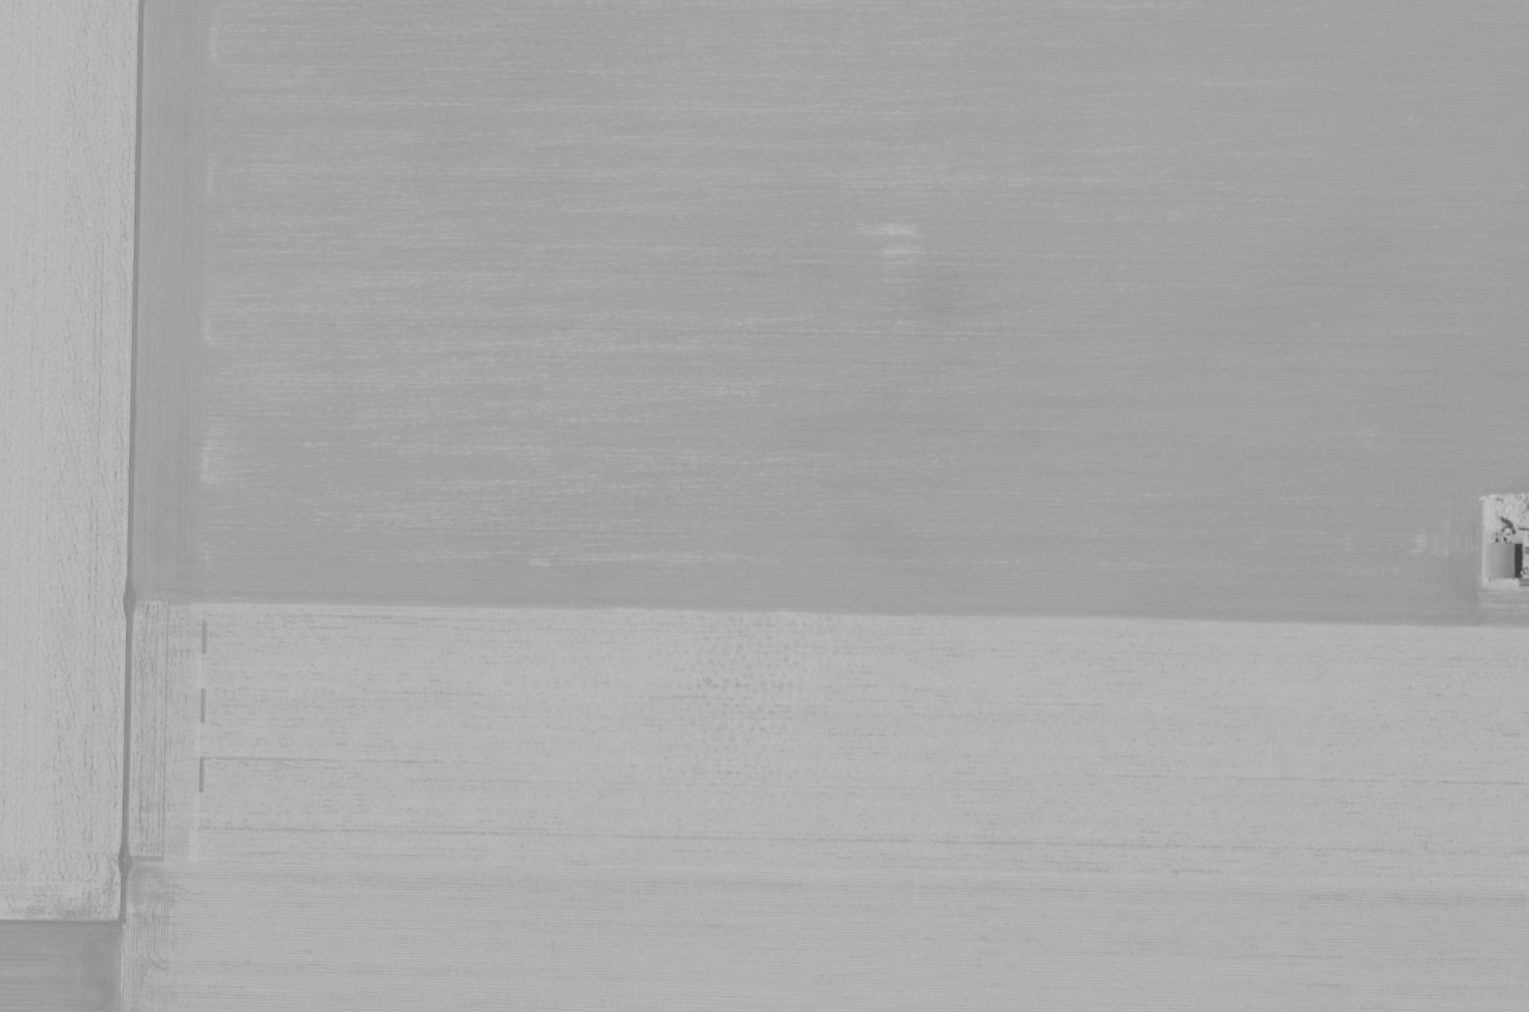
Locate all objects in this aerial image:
building: (1521, 513)
building: (1493, 561)

